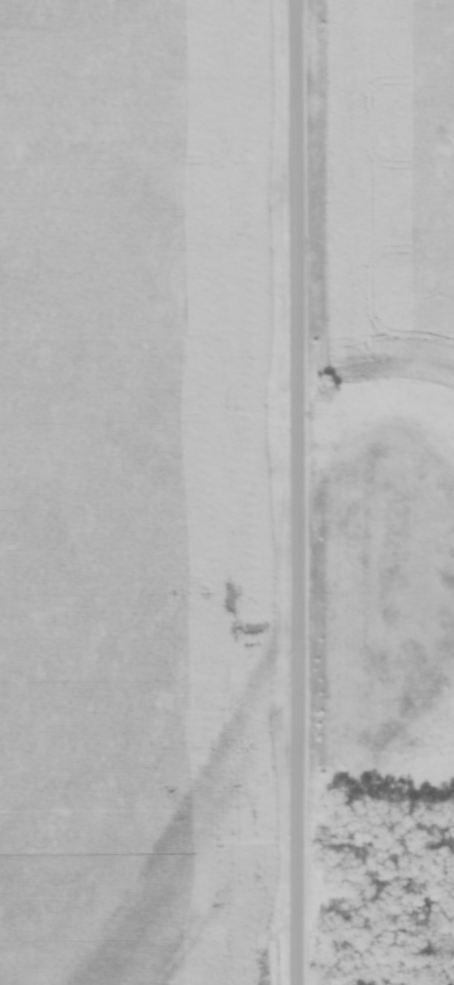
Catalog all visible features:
road: (303, 492)

